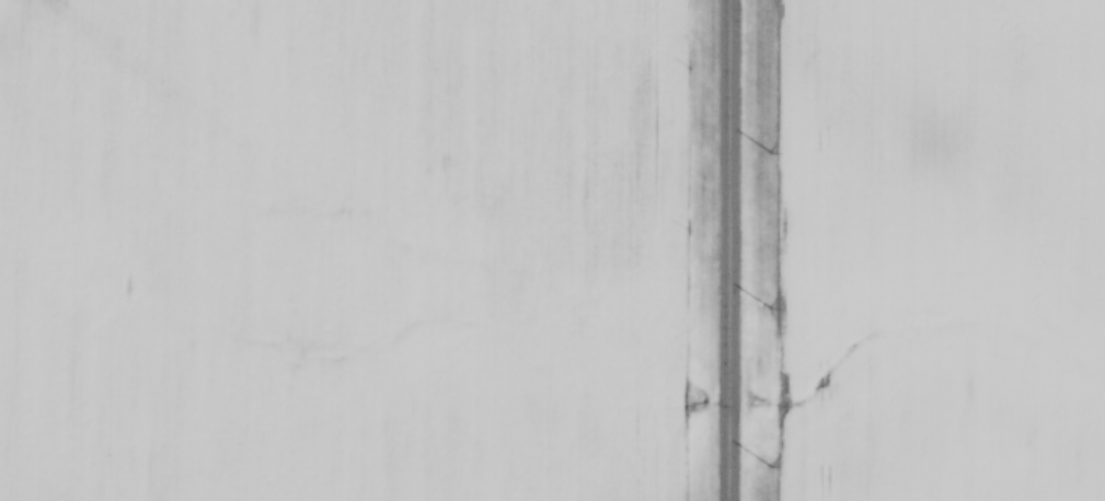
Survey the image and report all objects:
road: (737, 250)

